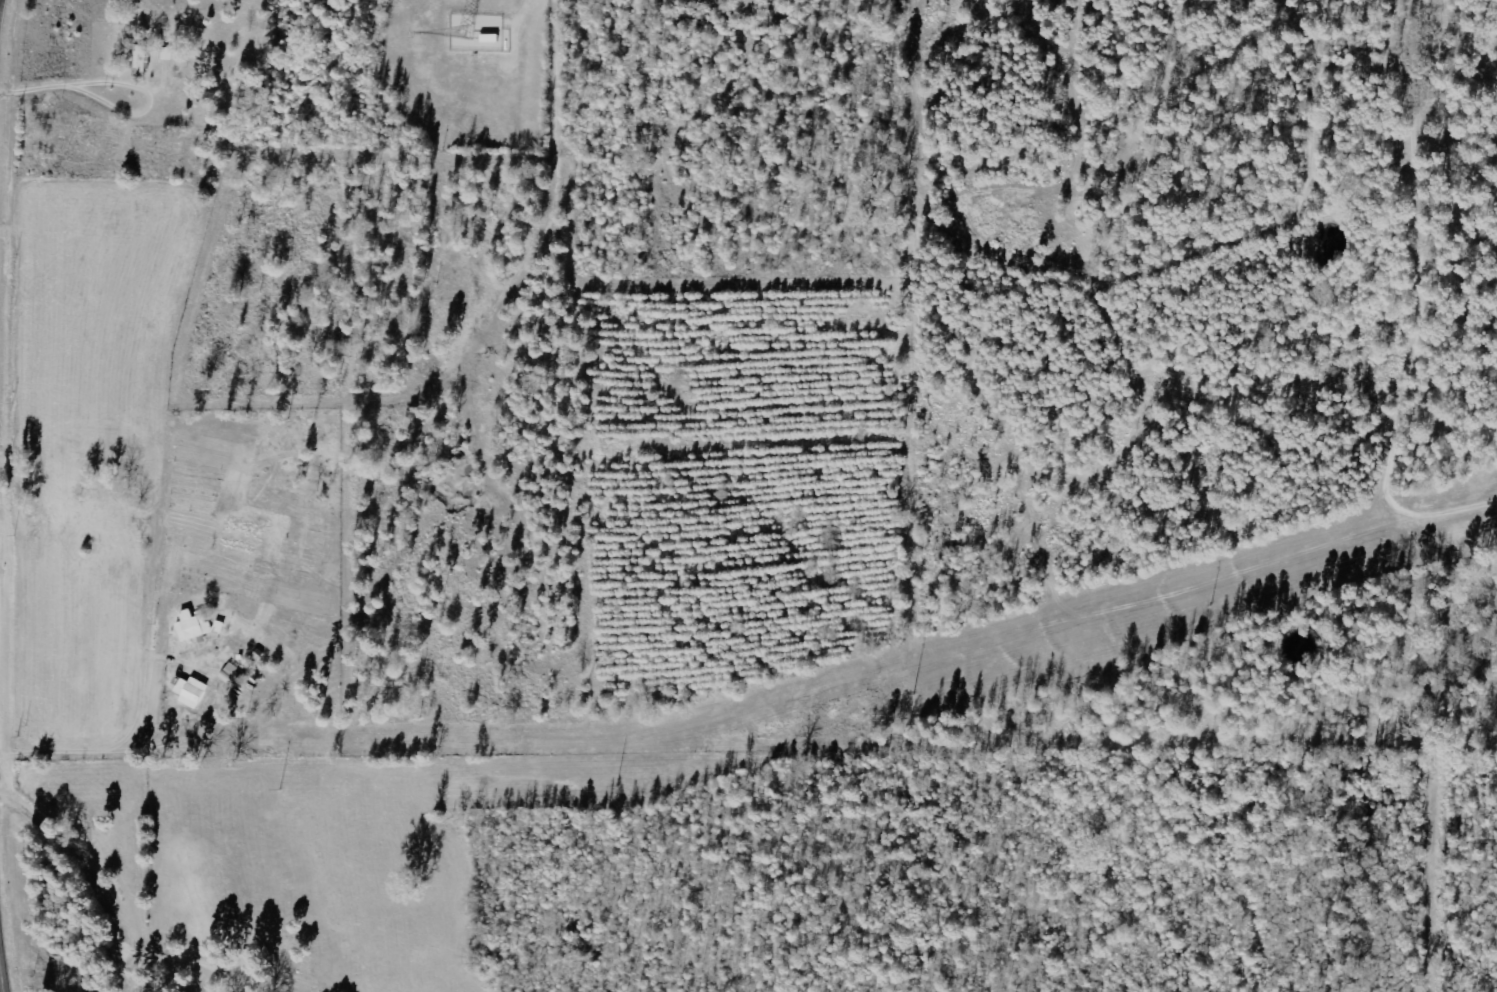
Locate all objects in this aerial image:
road: (2, 14)
building: (195, 626)
building: (193, 692)
road: (4, 966)

